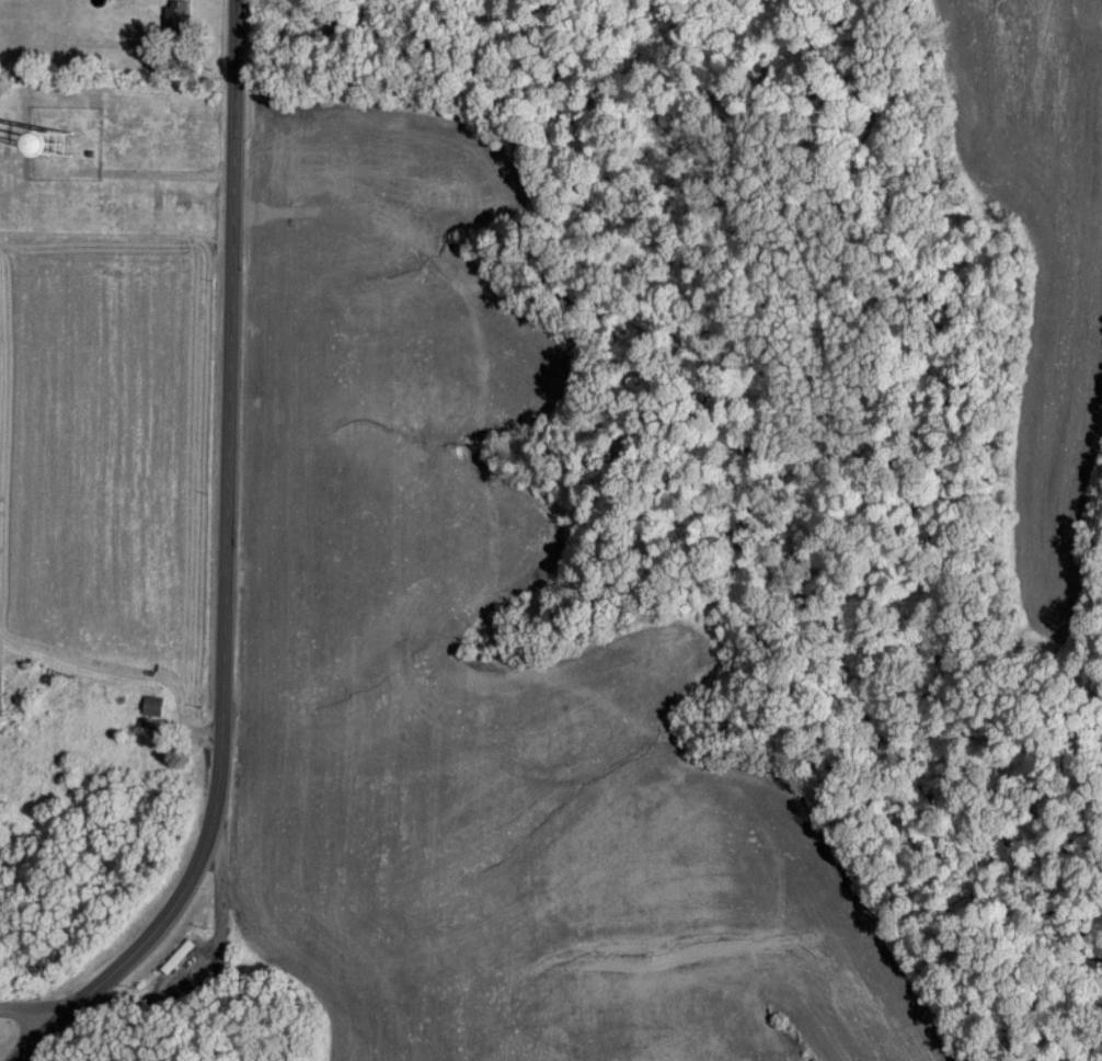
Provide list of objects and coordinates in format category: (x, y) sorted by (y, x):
building: (172, 11)
road: (227, 537)
building: (151, 704)
road: (222, 901)
road: (134, 1007)
road: (28, 1014)
road: (38, 1038)

